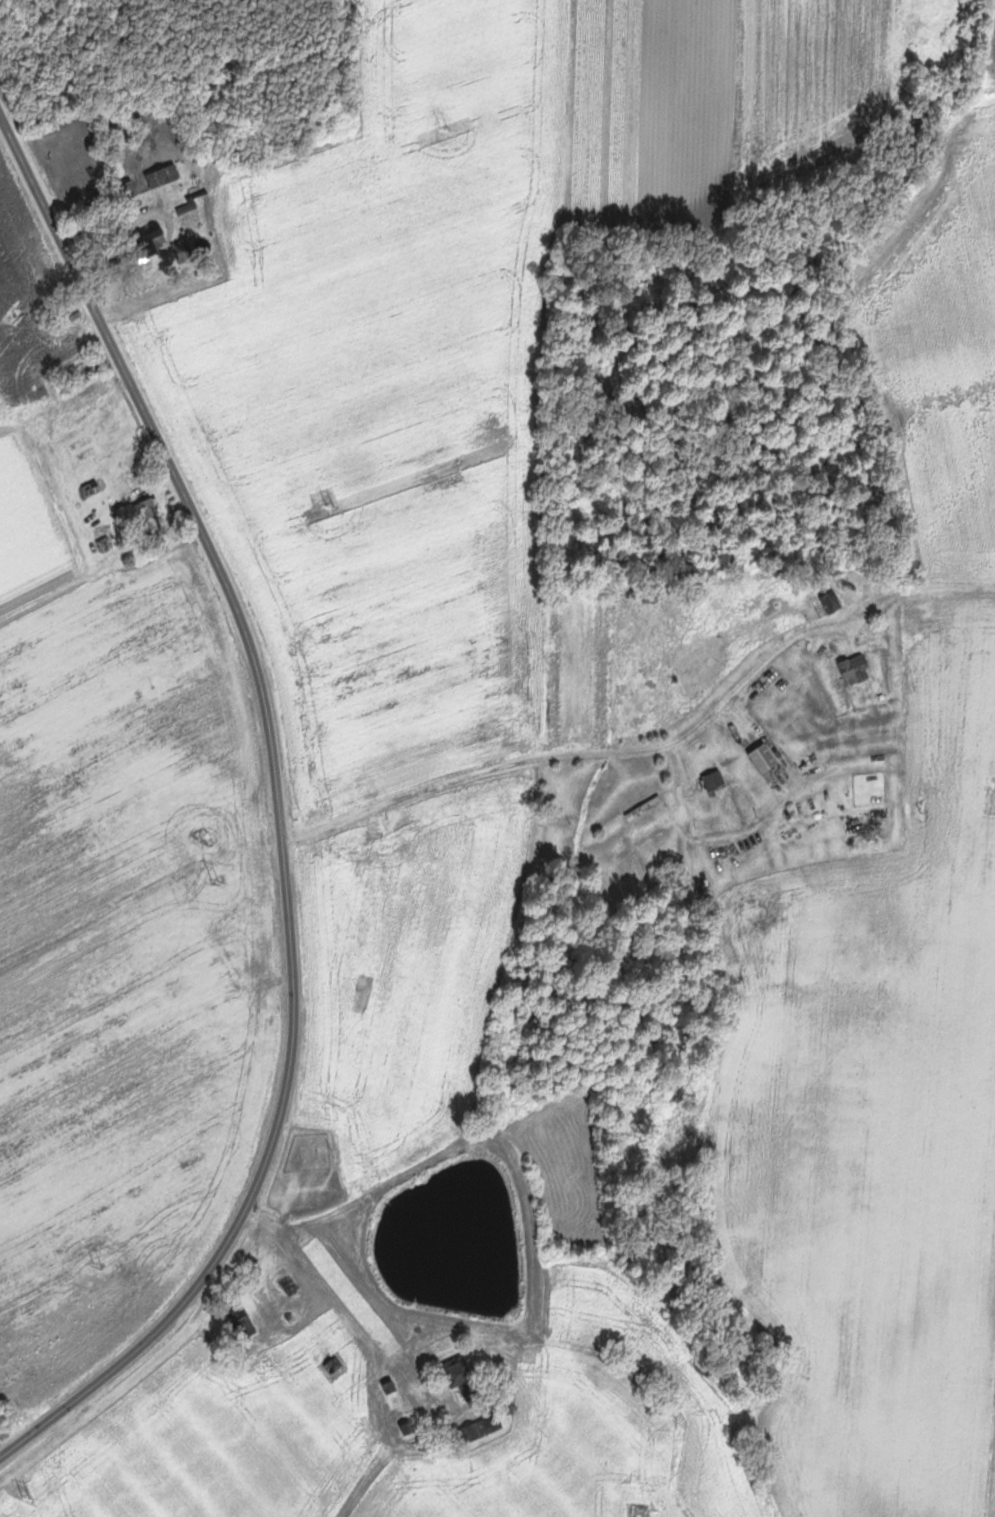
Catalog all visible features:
power tower: (447, 128)
building: (166, 175)
building: (154, 241)
building: (182, 251)
power tower: (330, 507)
building: (142, 511)
building: (768, 758)
road: (560, 760)
building: (717, 780)
road: (280, 814)
power tower: (216, 881)
power tower: (99, 1262)
road: (371, 1356)
building: (464, 1378)
building: (477, 1432)
power tower: (26, 1497)

